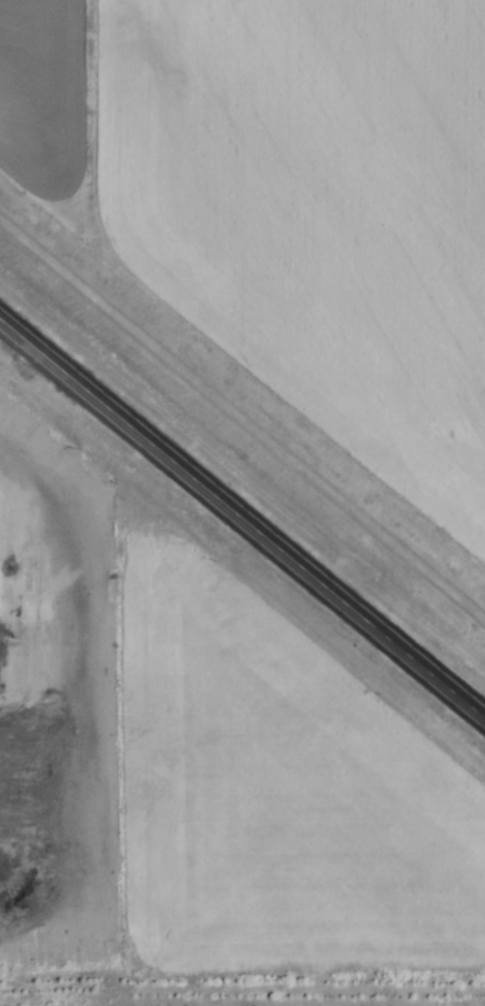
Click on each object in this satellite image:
road: (241, 414)
road: (242, 515)

